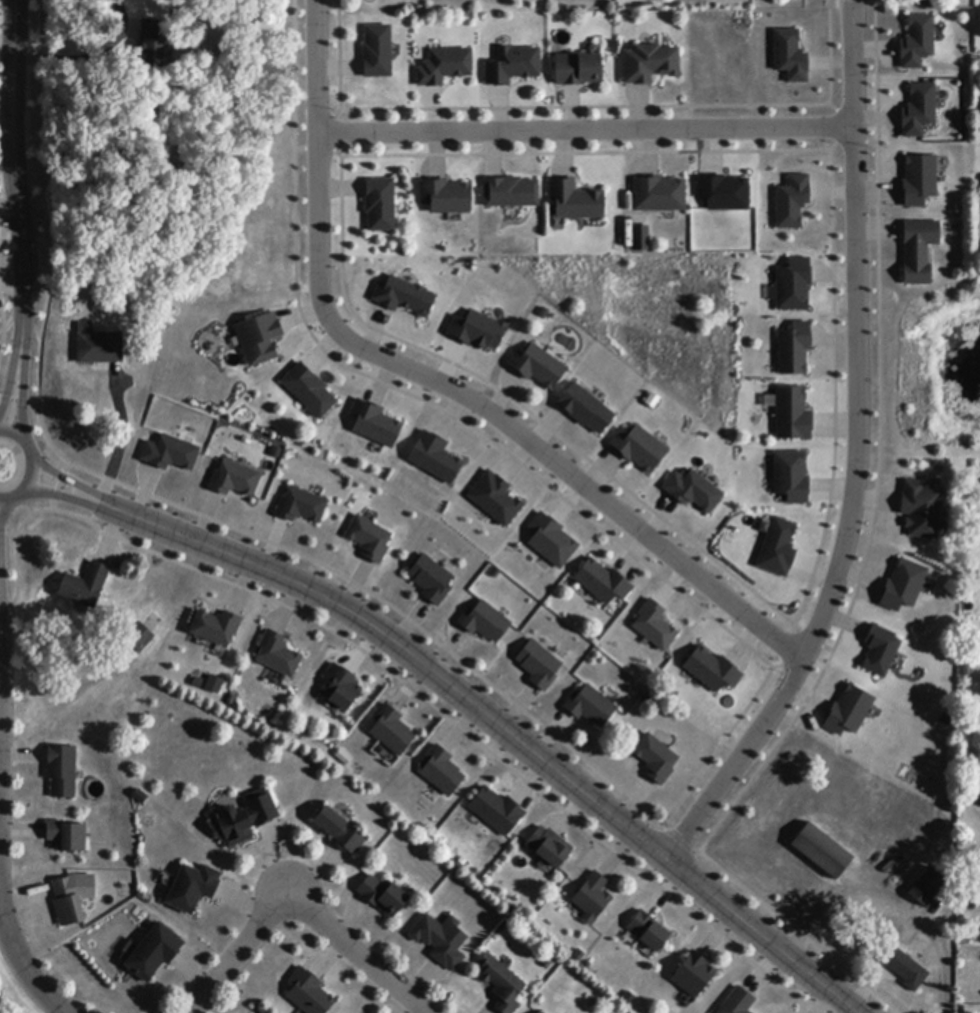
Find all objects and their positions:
building: (915, 40)
building: (151, 44)
building: (378, 52)
building: (790, 56)
building: (649, 64)
building: (513, 66)
building: (445, 67)
building: (578, 70)
building: (918, 111)
road: (585, 132)
road: (11, 164)
building: (916, 177)
building: (722, 191)
building: (511, 193)
building: (656, 193)
building: (447, 196)
building: (573, 200)
building: (792, 201)
building: (380, 205)
building: (639, 237)
building: (919, 251)
building: (792, 284)
building: (405, 297)
park: (651, 320)
building: (475, 329)
building: (258, 337)
building: (99, 346)
building: (794, 349)
building: (538, 367)
road: (14, 374)
park: (926, 376)
road: (24, 382)
road: (442, 384)
building: (309, 391)
building: (584, 408)
building: (791, 413)
building: (375, 424)
building: (637, 447)
building: (169, 453)
road: (857, 456)
building: (435, 459)
road: (115, 462)
road: (36, 463)
building: (790, 475)
building: (232, 477)
road: (75, 483)
building: (692, 489)
building: (493, 496)
road: (68, 497)
road: (101, 503)
building: (299, 504)
building: (921, 510)
building: (368, 537)
building: (550, 539)
building: (776, 545)
road: (0, 559)
building: (431, 580)
building: (603, 583)
building: (901, 583)
building: (85, 586)
building: (484, 622)
building: (652, 624)
building: (215, 626)
building: (139, 637)
building: (879, 648)
building: (276, 653)
building: (537, 664)
building: (710, 668)
building: (967, 669)
building: (213, 683)
building: (342, 687)
building: (590, 707)
building: (848, 709)
road: (500, 729)
building: (392, 731)
building: (655, 758)
building: (62, 772)
building: (442, 772)
building: (140, 797)
building: (497, 811)
building: (244, 819)
building: (340, 831)
building: (67, 836)
building: (550, 847)
building: (822, 852)
building: (927, 888)
building: (193, 889)
building: (384, 896)
building: (592, 899)
building: (67, 903)
road: (297, 904)
building: (648, 931)
building: (441, 940)
building: (155, 953)
road: (22, 959)
building: (905, 969)
building: (693, 975)
building: (502, 984)
building: (309, 993)
crop: (17, 999)
building: (738, 1002)
road: (61, 1010)
building: (541, 1012)

